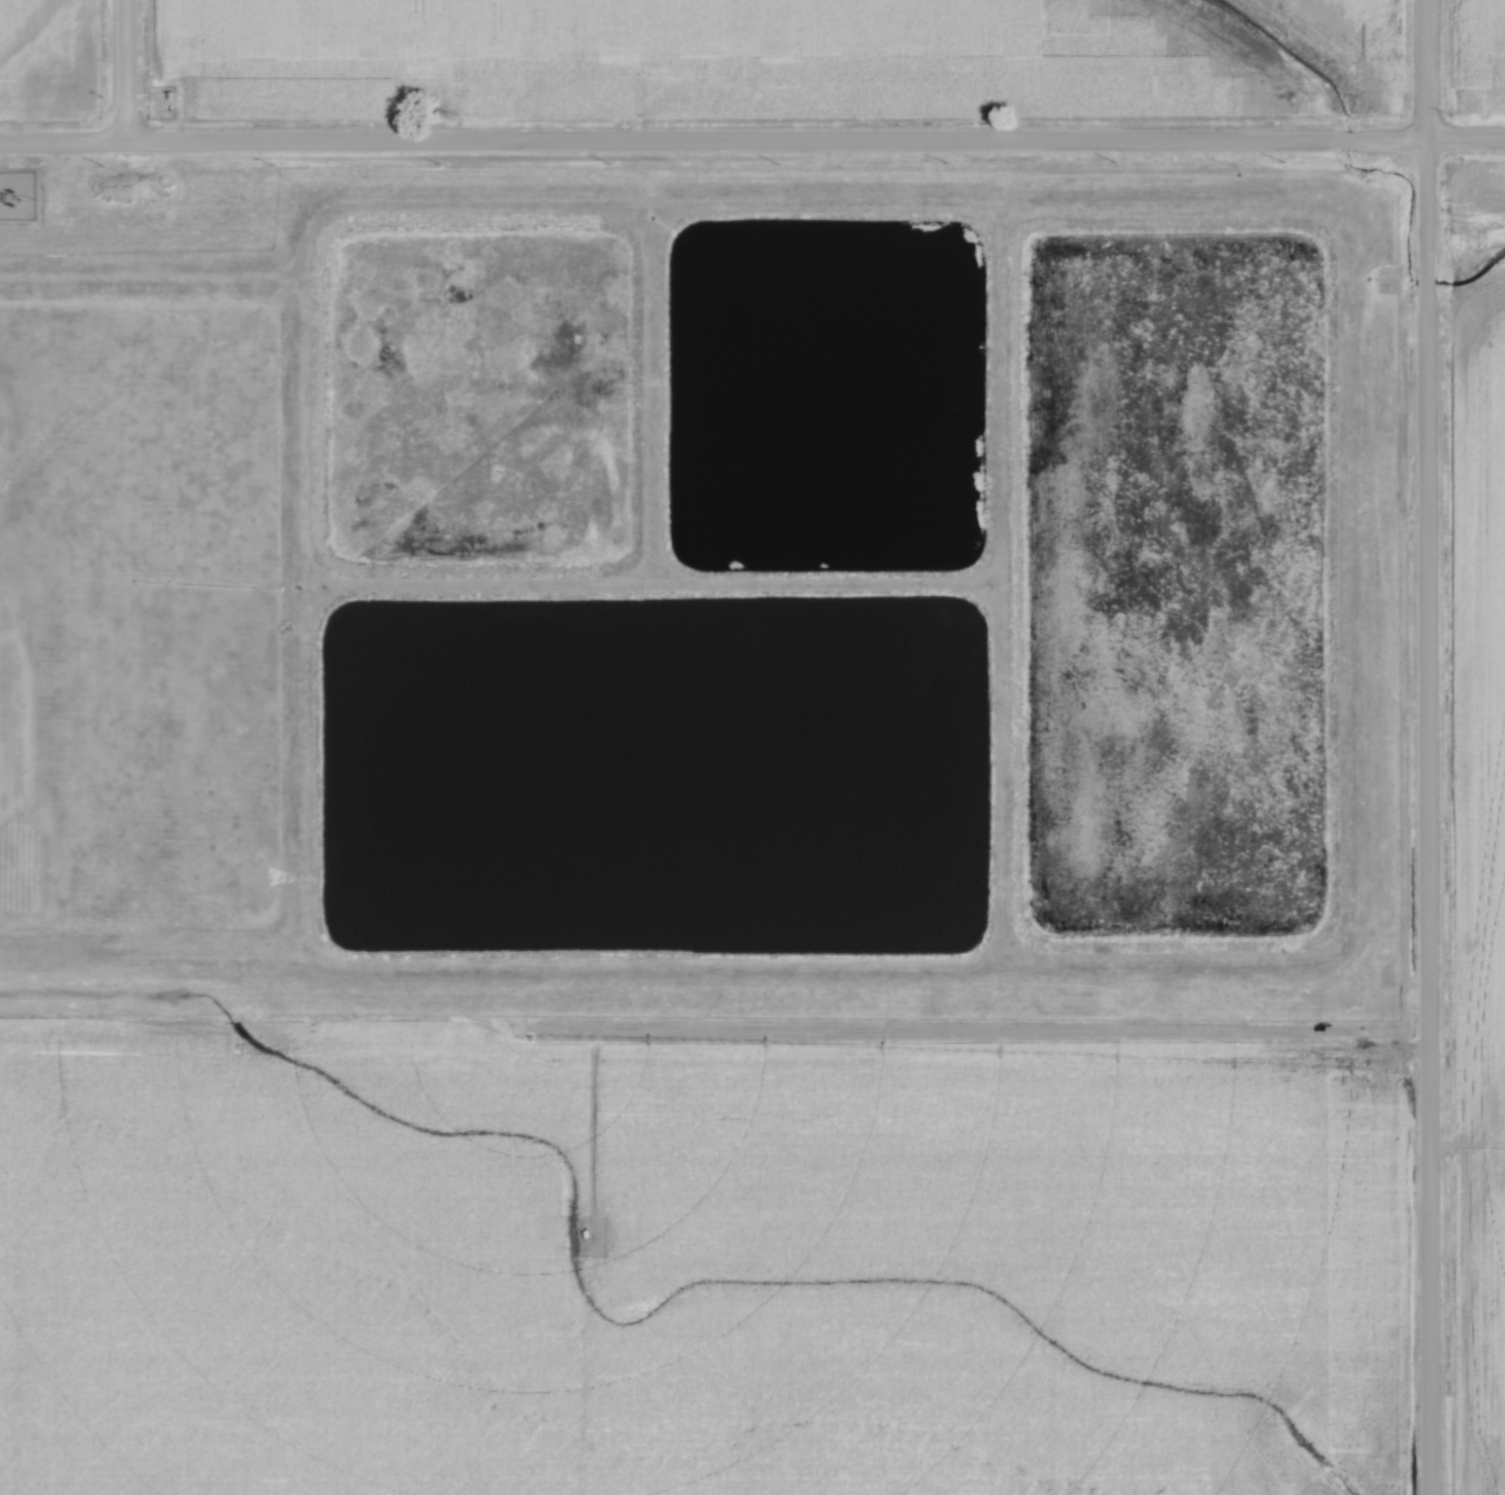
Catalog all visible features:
road: (120, 70)
building: (150, 104)
road: (60, 142)
road: (812, 146)
road: (1425, 747)

